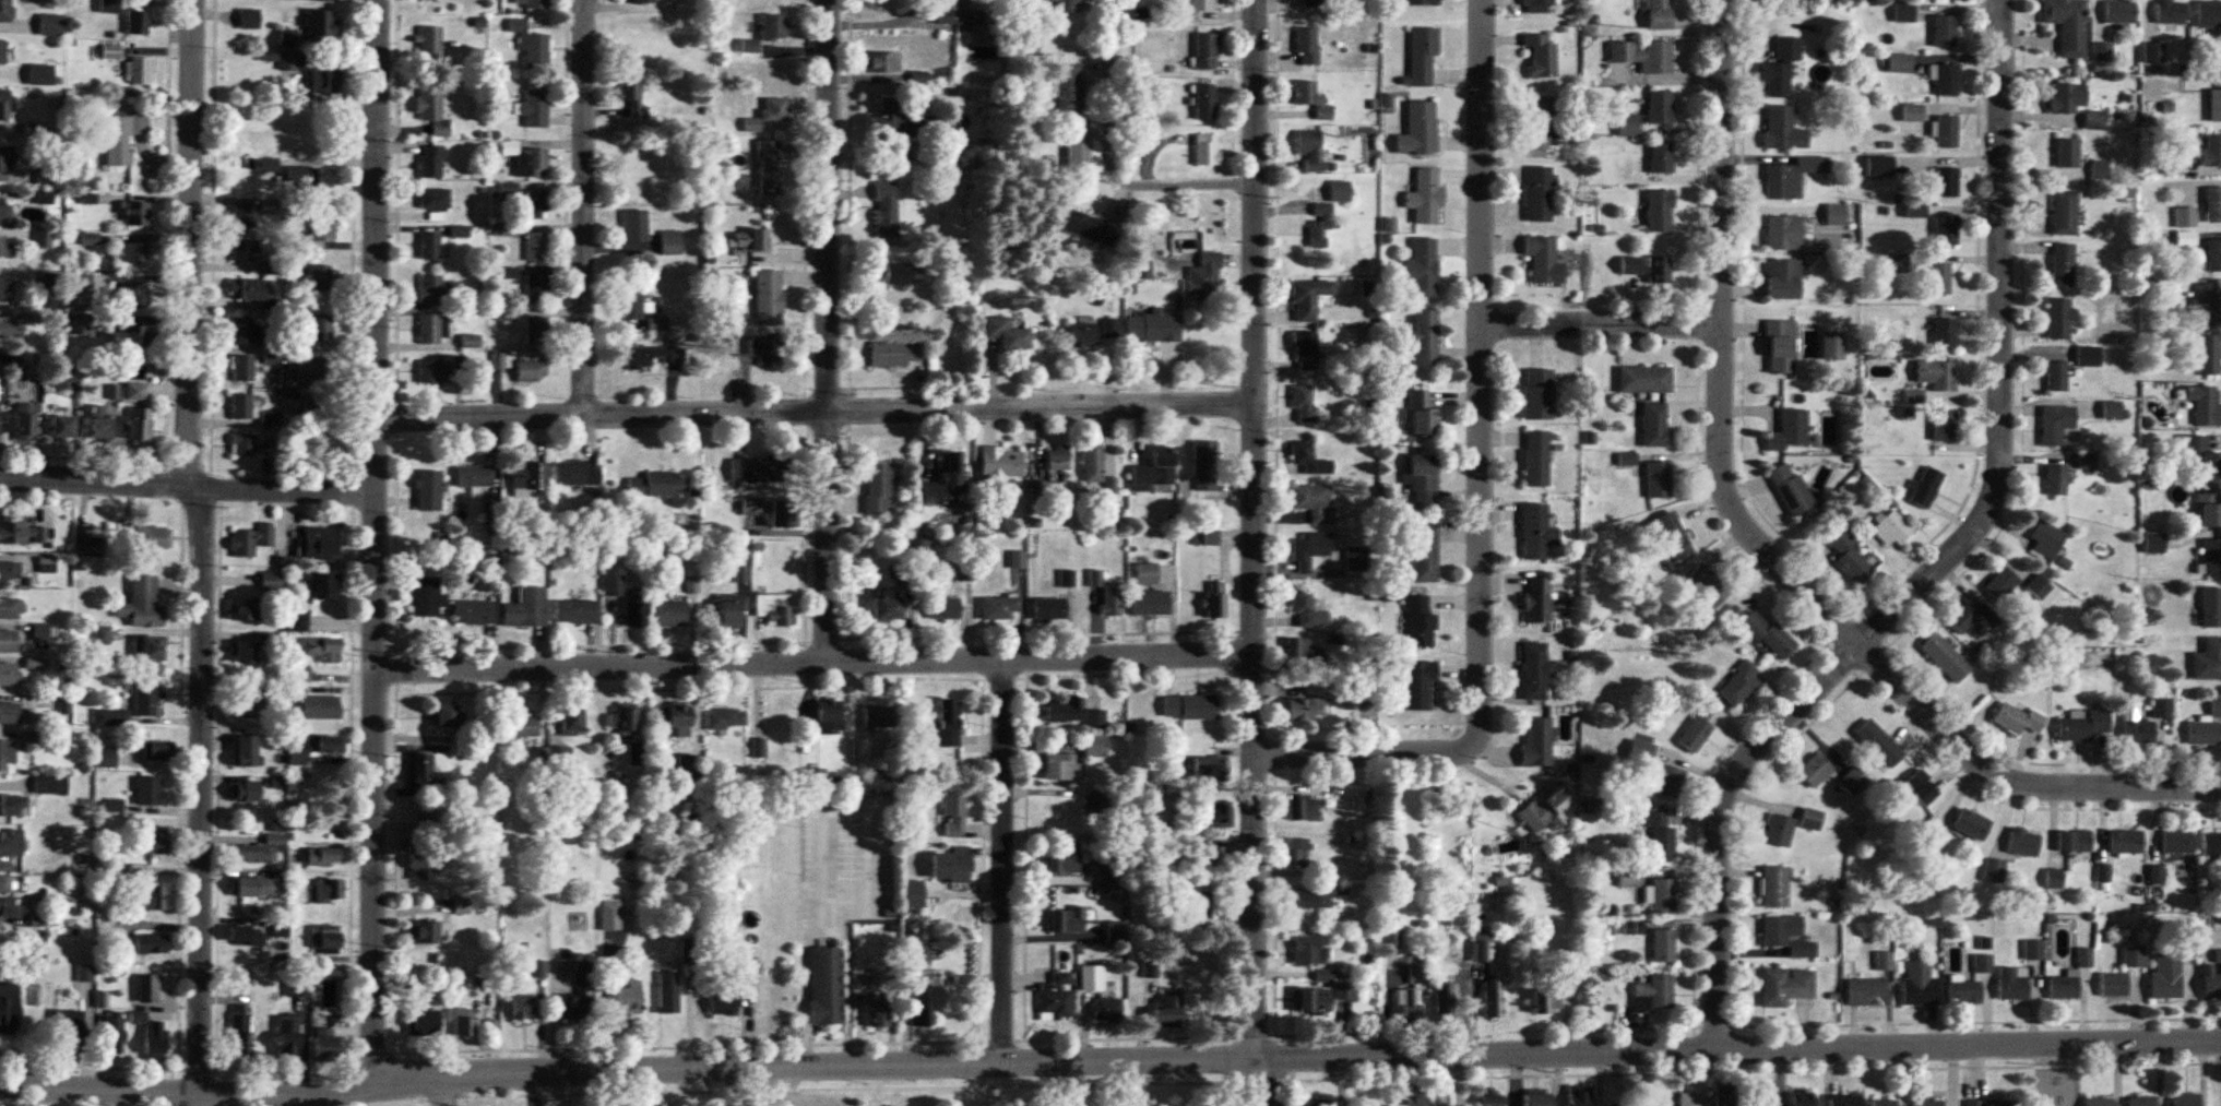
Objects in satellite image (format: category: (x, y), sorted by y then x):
building: (644, 1)
building: (1423, 2)
building: (532, 3)
building: (1315, 3)
building: (1539, 3)
building: (109, 5)
building: (1068, 5)
building: (1196, 8)
building: (5, 11)
building: (2121, 12)
building: (2170, 12)
building: (1904, 13)
building: (960, 14)
building: (1659, 14)
building: (2209, 14)
building: (249, 20)
building: (138, 23)
building: (321, 23)
building: (51, 25)
building: (2068, 25)
building: (774, 27)
building: (1944, 32)
building: (430, 44)
building: (531, 45)
building: (1307, 47)
building: (1205, 51)
building: (2, 52)
building: (111, 52)
building: (2101, 52)
building: (2153, 53)
building: (2216, 53)
building: (1422, 56)
building: (1541, 56)
building: (1643, 56)
building: (288, 61)
building: (880, 63)
building: (1900, 63)
building: (1782, 67)
building: (141, 71)
building: (40, 75)
building: (1946, 79)
building: (324, 81)
building: (1069, 90)
building: (633, 91)
building: (2067, 98)
building: (1313, 100)
building: (1205, 102)
building: (4, 105)
building: (1661, 107)
building: (2214, 107)
building: (534, 108)
building: (775, 110)
building: (431, 112)
building: (1913, 114)
building: (890, 118)
building: (1539, 123)
building: (1628, 126)
building: (1421, 128)
building: (1783, 129)
building: (33, 130)
building: (1947, 133)
building: (122, 138)
building: (1145, 139)
building: (1078, 144)
building: (1310, 148)
building: (1207, 150)
building: (2211, 152)
building: (2066, 153)
road: (1114, 155)
building: (1661, 157)
building: (5, 158)
building: (526, 159)
building: (430, 163)
building: (270, 167)
building: (1879, 167)
building: (769, 168)
building: (2099, 170)
building: (44, 176)
building: (1793, 177)
building: (309, 178)
building: (1946, 183)
building: (1340, 191)
building: (1539, 195)
building: (43, 198)
building: (1426, 198)
building: (433, 199)
building: (536, 204)
road: (586, 204)
building: (2212, 205)
building: (3, 207)
building: (886, 211)
building: (1660, 212)
building: (134, 214)
building: (1836, 214)
building: (2064, 214)
building: (242, 217)
building: (636, 226)
building: (1320, 226)
building: (322, 227)
building: (1091, 227)
building: (1945, 230)
building: (1783, 233)
building: (44, 239)
building: (750, 240)
building: (670, 242)
building: (430, 247)
building: (536, 247)
building: (5, 248)
building: (246, 251)
building: (132, 252)
building: (2213, 254)
building: (1542, 259)
building: (2063, 265)
building: (1422, 269)
building: (1648, 269)
building: (1139, 271)
building: (509, 274)
building: (901, 275)
building: (321, 278)
building: (1207, 278)
building: (1938, 278)
building: (1783, 280)
building: (4, 286)
building: (251, 289)
building: (433, 289)
building: (536, 289)
building: (133, 294)
building: (769, 298)
building: (1309, 298)
building: (630, 304)
building: (2206, 305)
building: (2058, 319)
road: (1602, 321)
building: (657, 322)
building: (79, 325)
building: (7, 328)
building: (1153, 328)
building: (1109, 329)
building: (321, 330)
building: (429, 330)
building: (241, 331)
building: (536, 331)
road: (830, 331)
building: (1944, 333)
building: (1083, 334)
building: (129, 335)
building: (1009, 335)
building: (1423, 340)
building: (471, 342)
building: (1779, 346)
building: (1832, 346)
building: (756, 348)
building: (1305, 350)
building: (898, 354)
building: (649, 356)
building: (2087, 356)
building: (2208, 356)
building: (499, 361)
building: (0, 364)
building: (241, 368)
building: (307, 369)
building: (531, 371)
building: (431, 372)
building: (1936, 374)
building: (2056, 377)
building: (1644, 380)
building: (135, 392)
building: (1537, 395)
building: (1305, 403)
building: (240, 406)
building: (2205, 406)
road: (818, 413)
building: (1422, 415)
building: (25, 423)
building: (99, 424)
building: (140, 424)
building: (2055, 424)
building: (1943, 425)
building: (1655, 426)
building: (62, 427)
building: (1789, 431)
building: (244, 445)
building: (2198, 457)
building: (1309, 459)
building: (1536, 459)
building: (2086, 461)
building: (1058, 462)
building: (1001, 463)
building: (1093, 463)
building: (1204, 463)
building: (752, 469)
building: (1156, 472)
building: (575, 474)
building: (473, 476)
building: (528, 477)
road: (1483, 478)
building: (1422, 479)
road: (187, 480)
building: (1658, 480)
building: (2055, 480)
building: (946, 484)
building: (657, 485)
building: (878, 488)
building: (1925, 488)
building: (428, 491)
building: (1791, 491)
building: (1314, 501)
building: (2208, 509)
building: (781, 515)
building: (1891, 530)
building: (20, 531)
building: (1536, 533)
building: (1673, 537)
building: (151, 538)
building: (1205, 538)
building: (2046, 539)
building: (252, 540)
road: (375, 540)
building: (318, 544)
road: (1761, 544)
building: (2154, 544)
building: (1308, 551)
road: (199, 552)
road: (1257, 552)
building: (1424, 555)
building: (1356, 558)
building: (2212, 558)
building: (1850, 559)
road: (1943, 560)
building: (1018, 561)
building: (10, 571)
building: (1147, 574)
building: (271, 581)
building: (2002, 584)
building: (615, 586)
building: (325, 587)
building: (1706, 587)
building: (2039, 587)
building: (1107, 596)
building: (427, 597)
building: (1215, 600)
building: (1536, 600)
building: (142, 604)
building: (1151, 604)
building: (888, 606)
building: (526, 608)
building: (775, 608)
building: (1000, 608)
building: (2211, 608)
building: (9, 609)
building: (1049, 609)
building: (245, 610)
building: (634, 610)
building: (946, 610)
building: (575, 611)
building: (728, 611)
building: (1306, 611)
building: (474, 613)
building: (672, 615)
building: (1971, 617)
building: (296, 623)
building: (1420, 623)
building: (1769, 637)
building: (8, 642)
building: (322, 650)
building: (1302, 650)
building: (149, 651)
building: (245, 653)
building: (1945, 658)
building: (2208, 661)
road: (816, 663)
building: (37, 664)
building: (1535, 670)
building: (9, 675)
building: (299, 677)
building: (1418, 685)
building: (1738, 685)
building: (145, 700)
building: (41, 702)
building: (248, 706)
building: (319, 707)
building: (1190, 707)
building: (1304, 710)
building: (1062, 711)
building: (9, 714)
building: (444, 716)
building: (878, 716)
building: (111, 717)
building: (673, 717)
building: (829, 717)
building: (621, 718)
building: (726, 718)
building: (1095, 720)
building: (2017, 720)
building: (571, 721)
building: (775, 721)
building: (948, 723)
building: (2082, 725)
building: (2206, 725)
building: (524, 727)
building: (2137, 728)
building: (1697, 729)
building: (1537, 742)
building: (1879, 744)
building: (326, 745)
building: (1094, 746)
building: (858, 748)
building: (156, 750)
building: (247, 751)
building: (5, 754)
building: (636, 754)
building: (561, 757)
building: (106, 758)
building: (298, 758)
building: (1059, 768)
building: (1210, 770)
building: (1814, 771)
building: (1655, 772)
building: (423, 773)
building: (1853, 782)
building: (50, 784)
building: (1921, 788)
building: (147, 790)
building: (246, 792)
building: (1096, 798)
building: (12, 806)
building: (1300, 808)
building: (1545, 808)
building: (425, 811)
building: (953, 814)
building: (1212, 816)
building: (1810, 819)
building: (1971, 824)
building: (1779, 831)
building: (1660, 837)
building: (157, 840)
building: (2074, 841)
building: (2125, 841)
building: (2177, 842)
building: (10, 843)
building: (2023, 843)
building: (1934, 844)
building: (2211, 845)
building: (259, 851)
building: (1297, 853)
building: (321, 856)
road: (1008, 860)
building: (1065, 860)
building: (951, 864)
building: (421, 866)
building: (1995, 871)
building: (2103, 873)
building: (1629, 878)
building: (4, 884)
building: (253, 887)
building: (1774, 887)
building: (331, 891)
building: (913, 893)
building: (153, 894)
building: (1662, 895)
building: (1311, 901)
building: (1189, 902)
building: (9, 908)
building: (611, 916)
building: (1068, 920)
building: (1634, 927)
building: (1115, 932)
building: (424, 933)
building: (247, 936)
building: (1786, 937)
building: (324, 938)
building: (1391, 939)
building: (151, 943)
building: (1484, 943)
building: (1663, 946)
building: (2032, 950)
building: (1309, 951)
building: (919, 955)
building: (1091, 968)
building: (1150, 971)
building: (85, 973)
building: (1417, 976)
building: (2165, 977)
building: (2210, 983)
building: (2012, 984)
building: (1920, 985)
building: (2114, 985)
building: (826, 986)
building: (1788, 988)
building: (2064, 988)
building: (1344, 991)
building: (1964, 992)
building: (1654, 994)
building: (1866, 994)
building: (668, 995)
building: (579, 996)
building: (628, 998)
building: (1493, 1000)
building: (1546, 1001)
building: (1054, 1002)
building: (1311, 1002)
building: (1444, 1003)
building: (9, 1004)
building: (724, 1006)
building: (924, 1006)
building: (1408, 1006)
building: (1168, 1007)
building: (524, 1008)
road: (1465, 1008)
building: (1107, 1012)
building: (879, 1015)
building: (462, 1023)
building: (423, 1024)
building: (240, 1030)
building: (67, 1031)
building: (111, 1032)
building: (152, 1036)
building: (287, 1036)
building: (324, 1044)
road: (1332, 1053)
road: (785, 1086)
road: (444, 1089)
road: (224, 1090)
building: (1579, 1095)
building: (1725, 1096)
building: (1490, 1097)
building: (1537, 1097)
building: (1802, 1097)
building: (1416, 1098)
building: (1688, 1098)
building: (1844, 1099)
building: (2142, 1101)
building: (2186, 1101)
building: (1931, 1102)
building: (2100, 1102)
building: (1884, 1103)
building: (1991, 1103)

